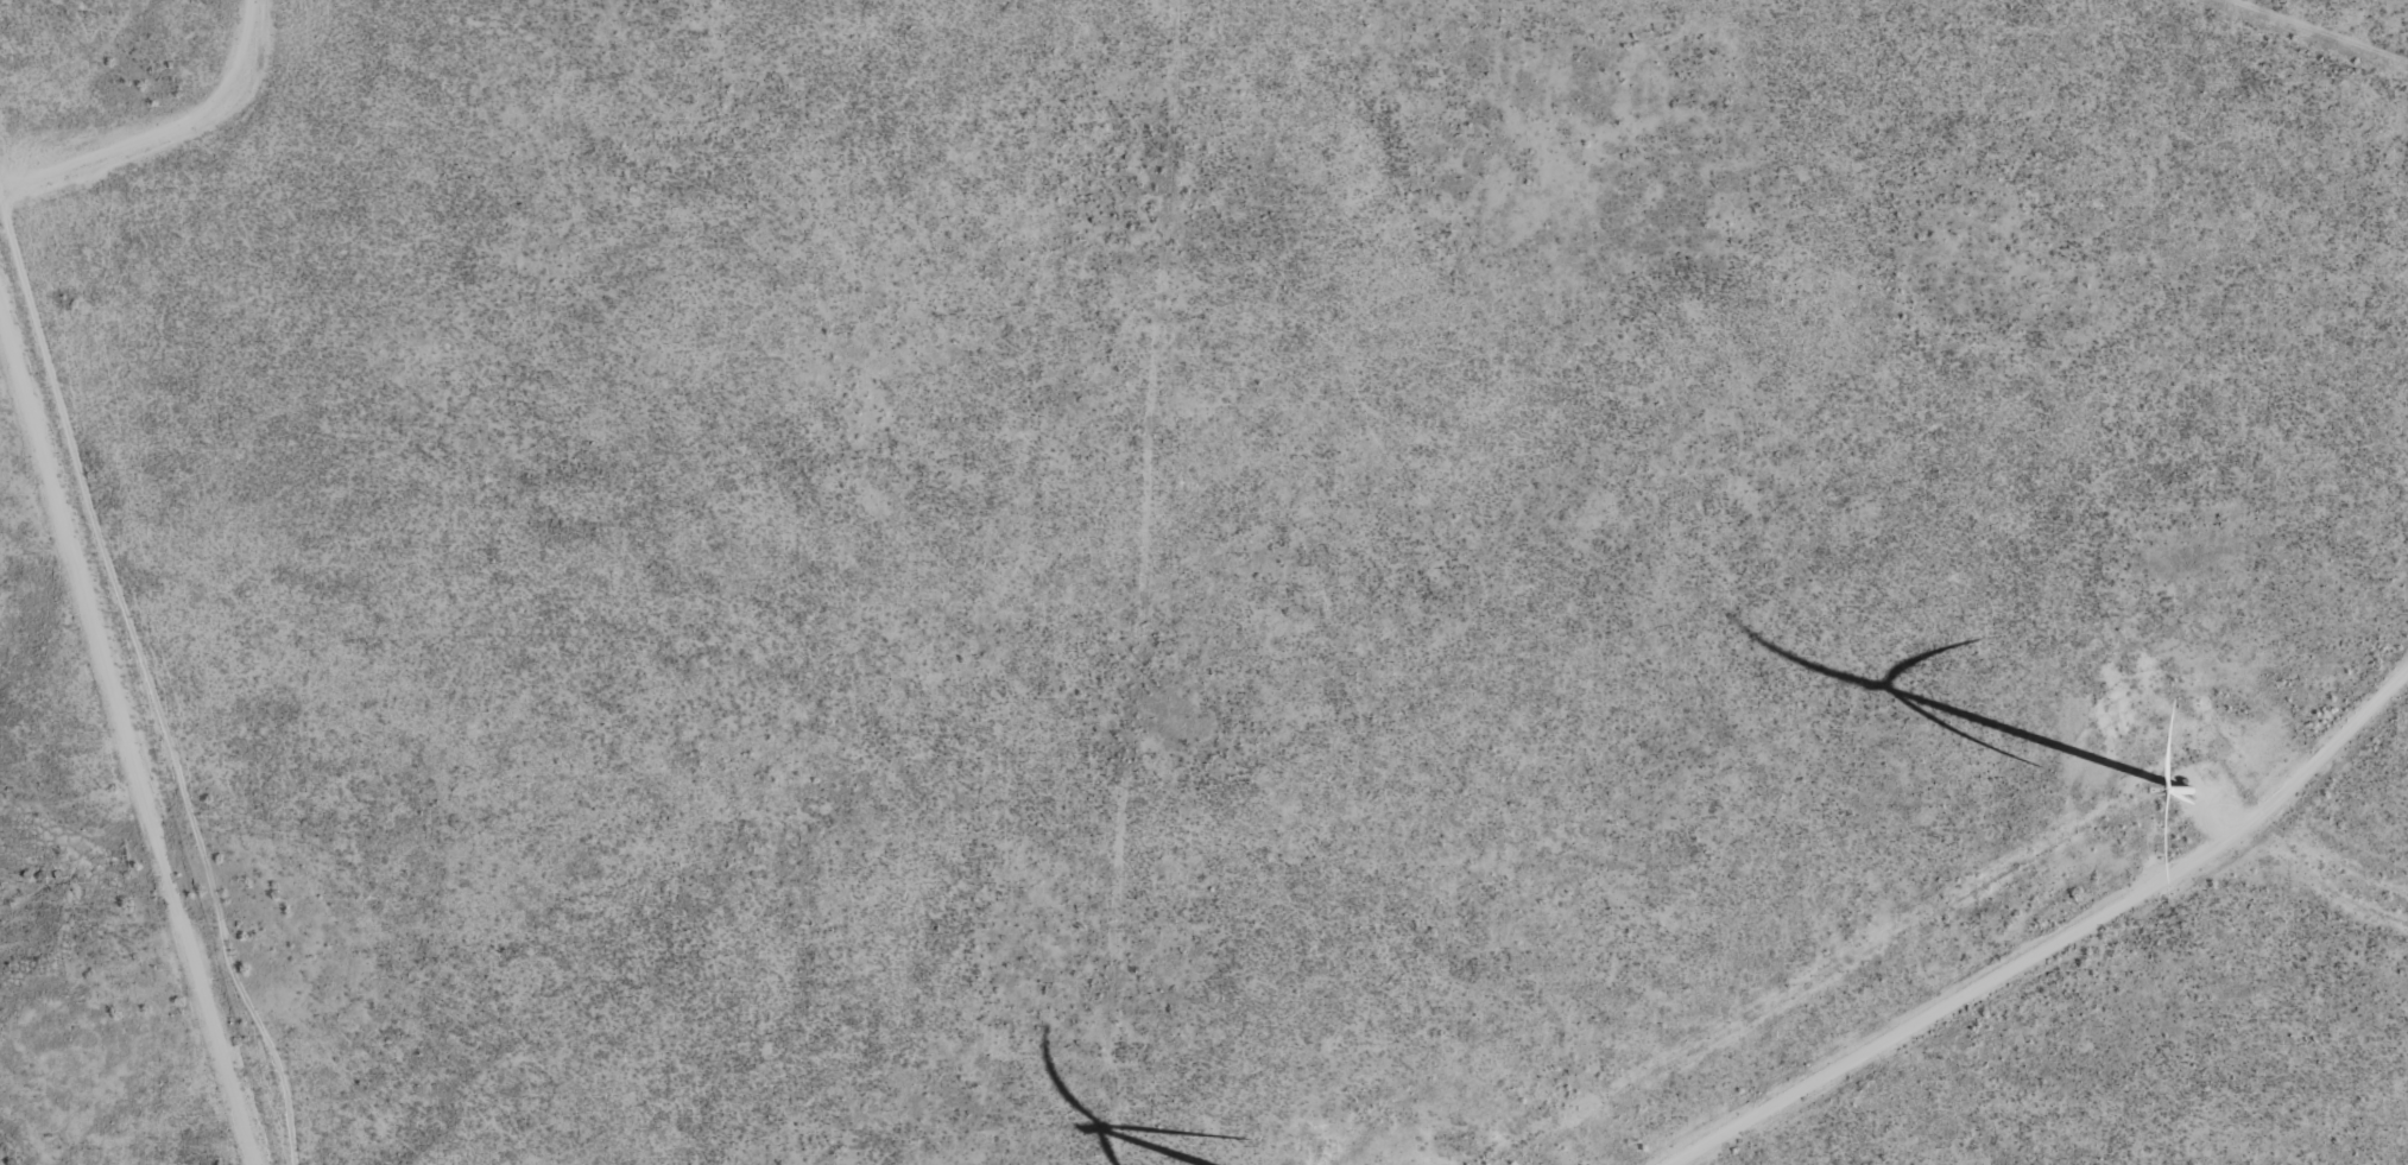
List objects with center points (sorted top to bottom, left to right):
road: (158, 619)
wind turbine: (2186, 785)

